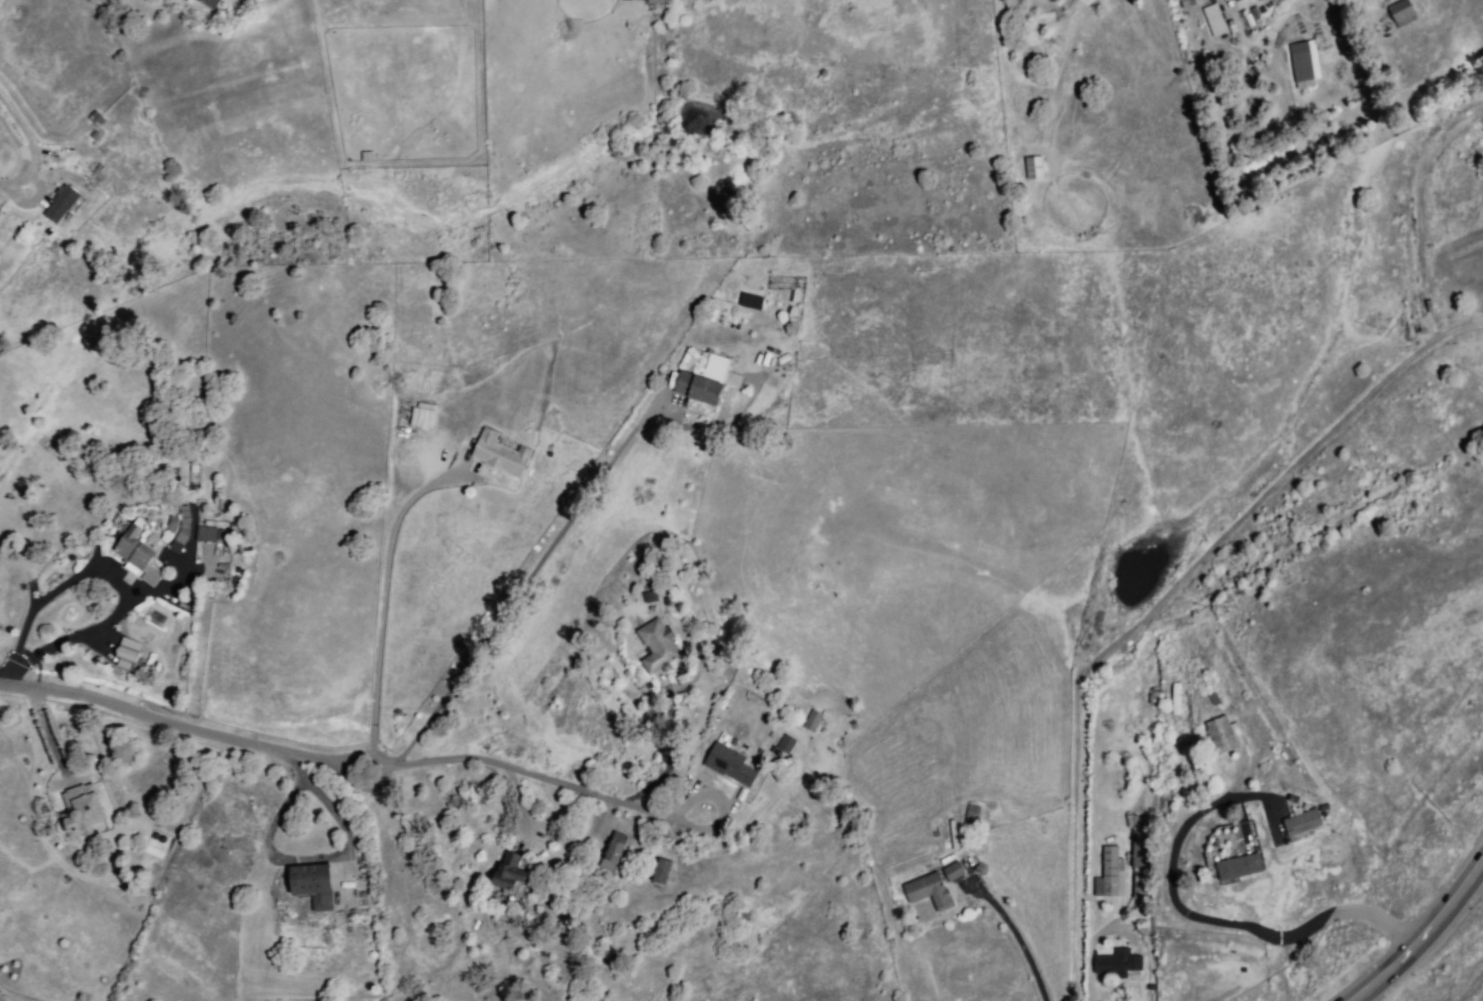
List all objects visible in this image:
building: (1184, 1)
building: (1237, 2)
building: (206, 3)
building: (1399, 14)
building: (1213, 19)
building: (1300, 62)
road: (31, 148)
building: (1033, 170)
building: (60, 208)
building: (1, 216)
building: (749, 301)
building: (697, 388)
building: (512, 395)
building: (501, 457)
building: (205, 533)
building: (130, 549)
road: (110, 565)
road: (524, 584)
road: (1158, 601)
road: (383, 605)
building: (658, 650)
building: (128, 655)
building: (1129, 667)
building: (1174, 698)
building: (1154, 705)
building: (812, 724)
building: (1223, 734)
building: (785, 748)
road: (668, 758)
building: (732, 766)
road: (340, 770)
road: (718, 805)
building: (78, 813)
building: (970, 814)
building: (1300, 821)
building: (612, 854)
building: (1136, 854)
building: (1240, 871)
building: (506, 872)
building: (1105, 872)
building: (661, 875)
building: (309, 884)
building: (935, 888)
road: (1215, 919)
road: (1421, 936)
road: (1015, 937)
building: (1115, 966)
building: (1201, 1000)

